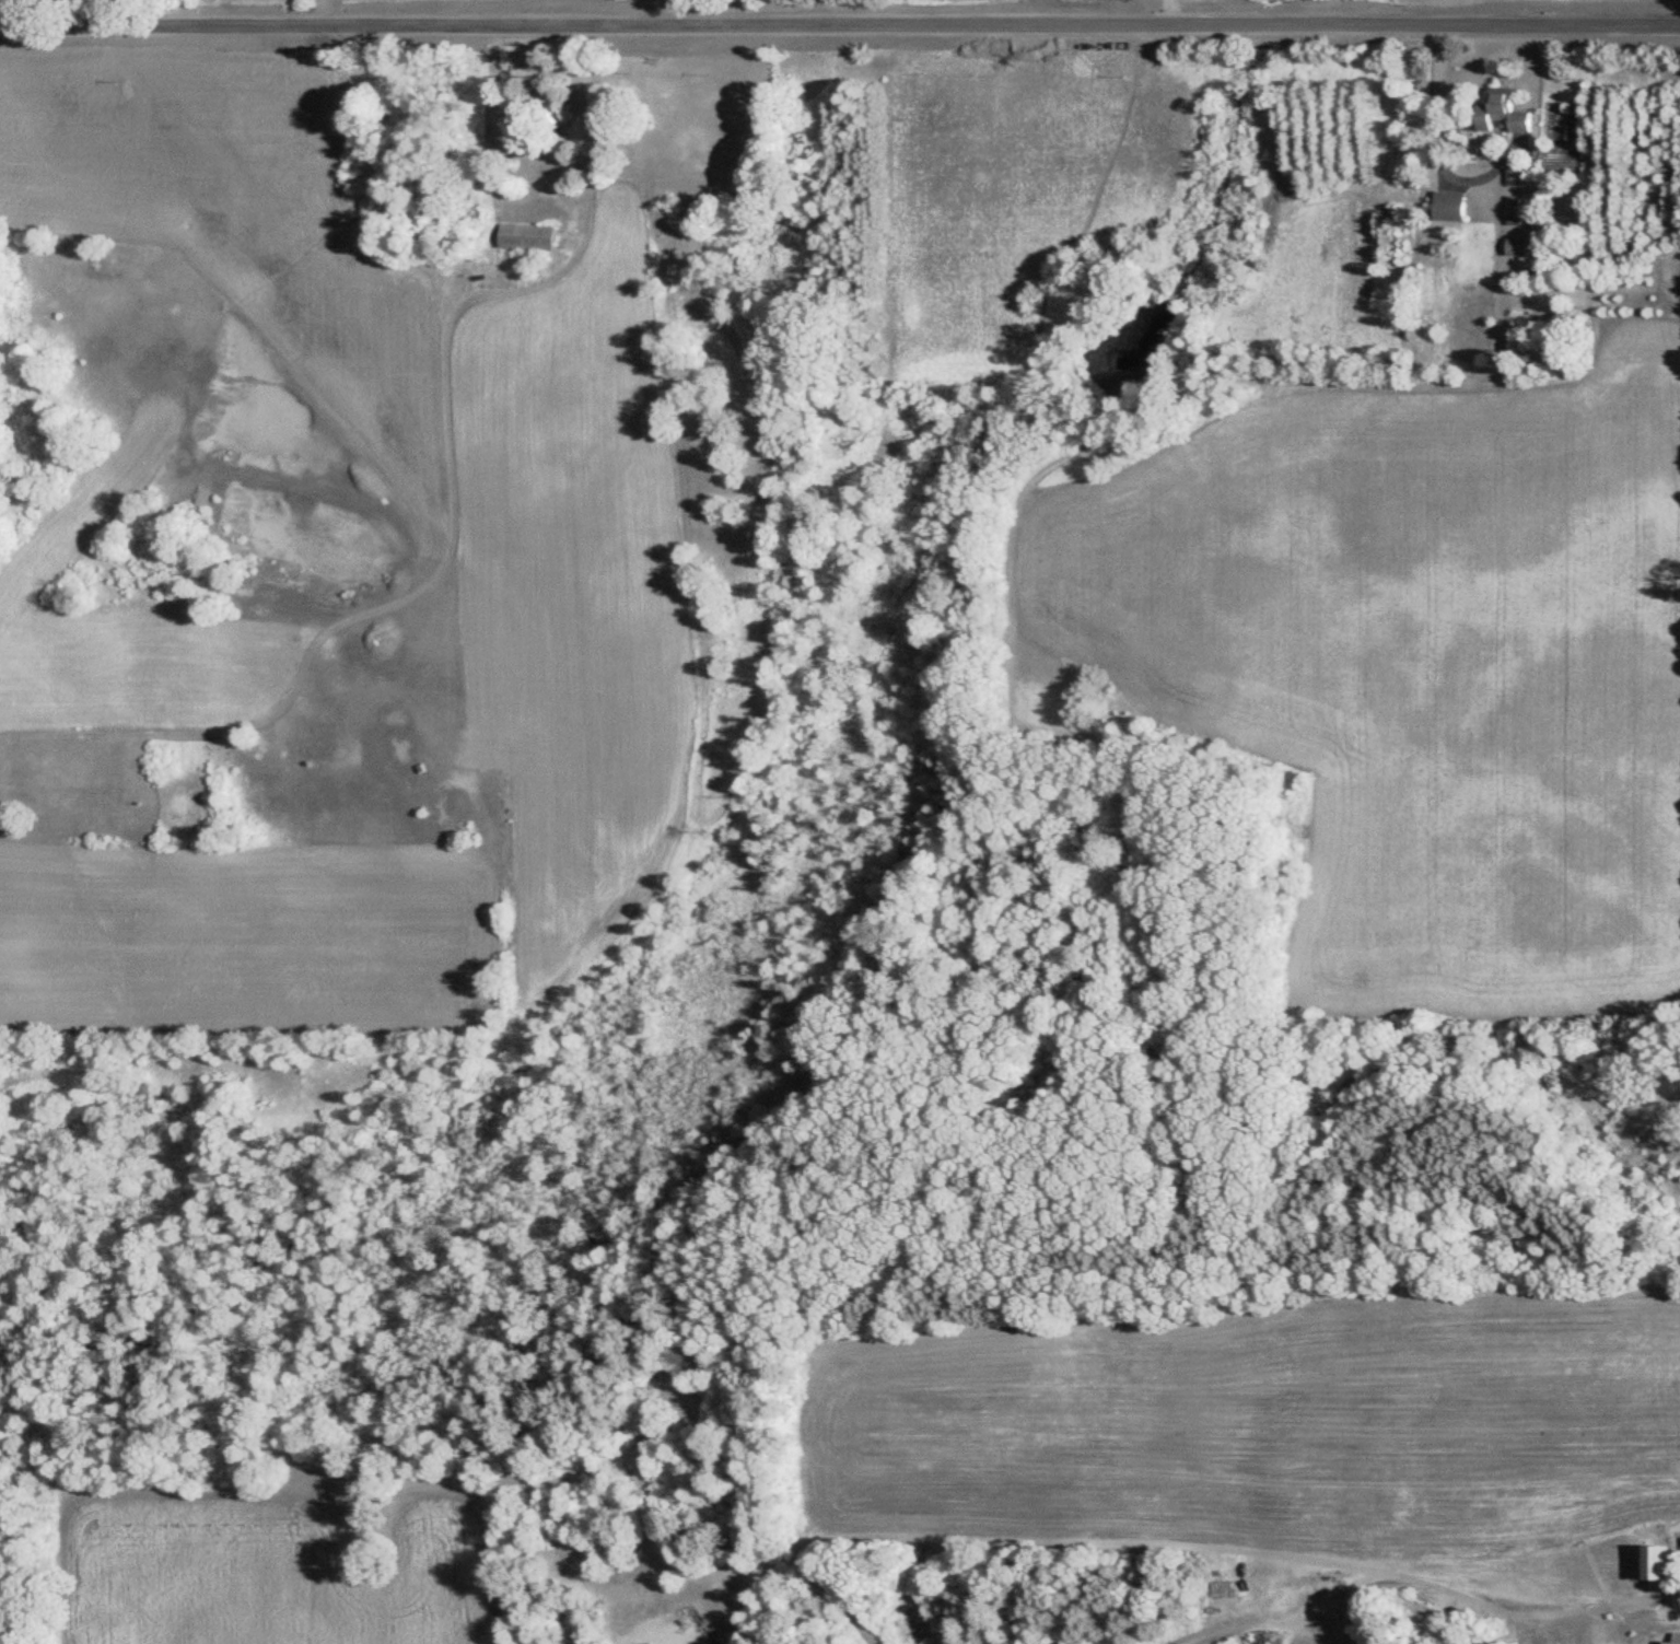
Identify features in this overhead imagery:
road: (1171, 9)
road: (840, 19)
building: (1498, 116)
road: (1435, 140)
road: (588, 196)
building: (1446, 208)
building: (1510, 211)
building: (523, 237)
building: (1513, 247)
building: (654, 1643)

